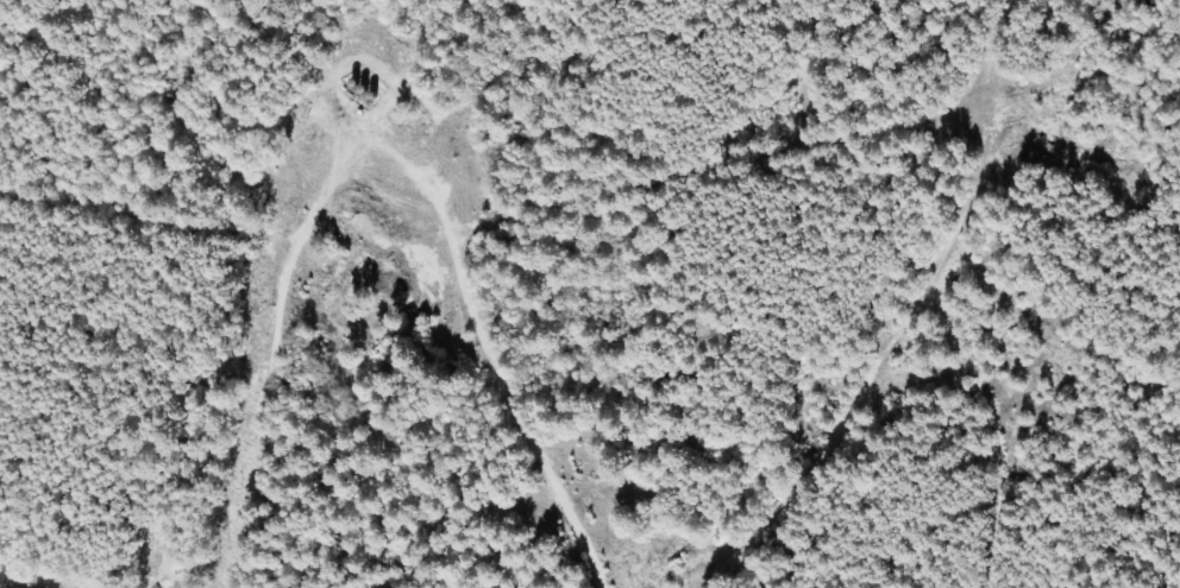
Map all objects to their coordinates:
road: (454, 266)

